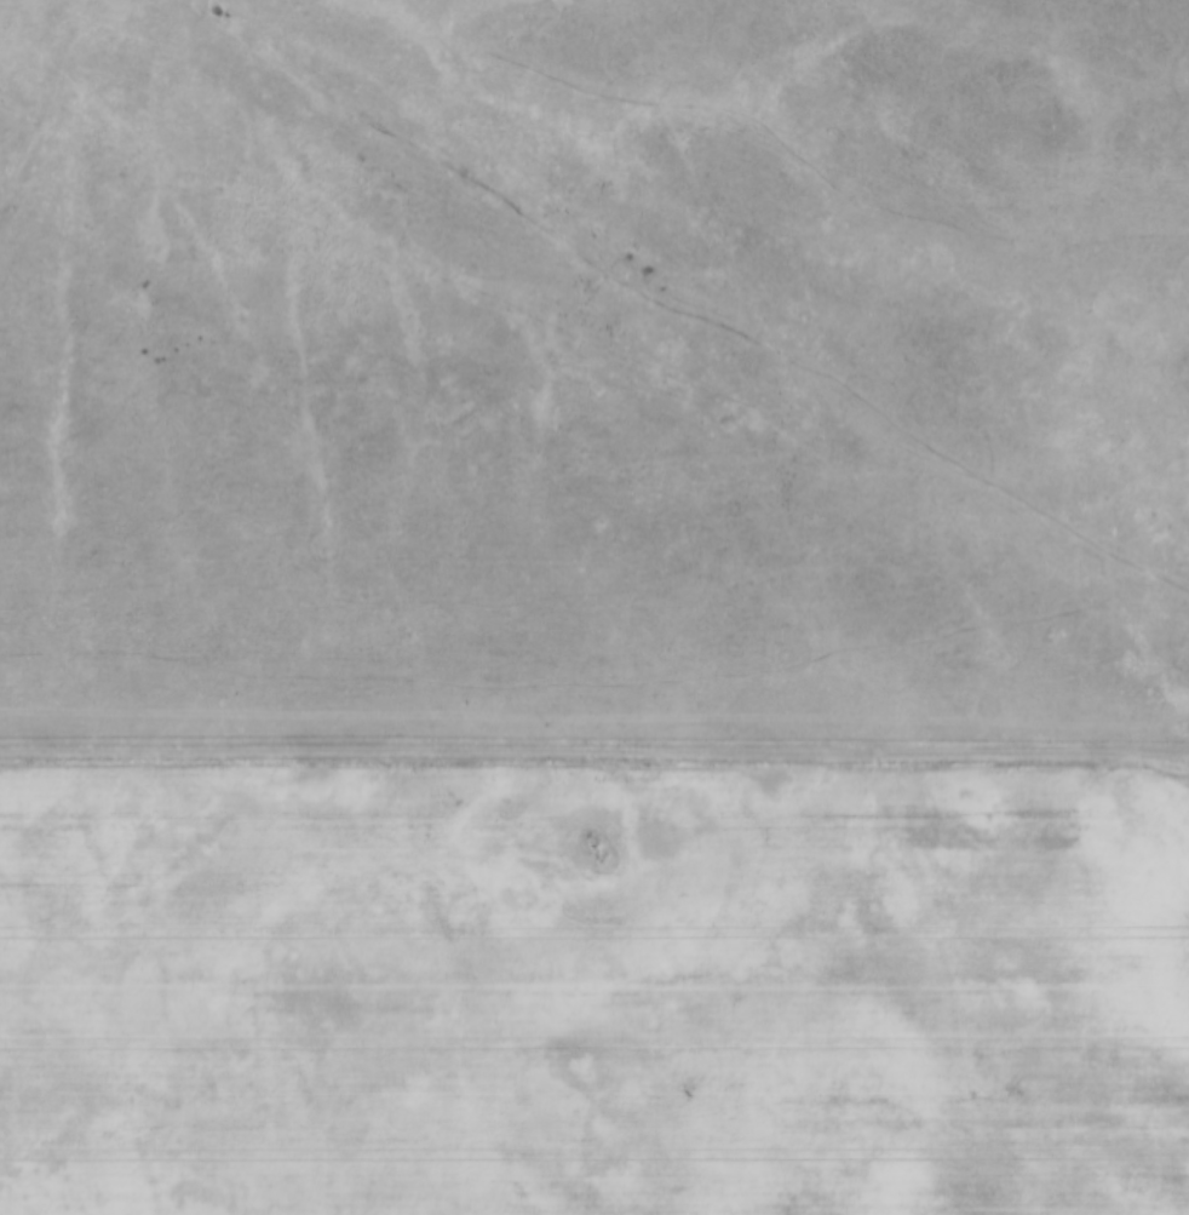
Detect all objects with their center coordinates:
crop: (591, 993)

